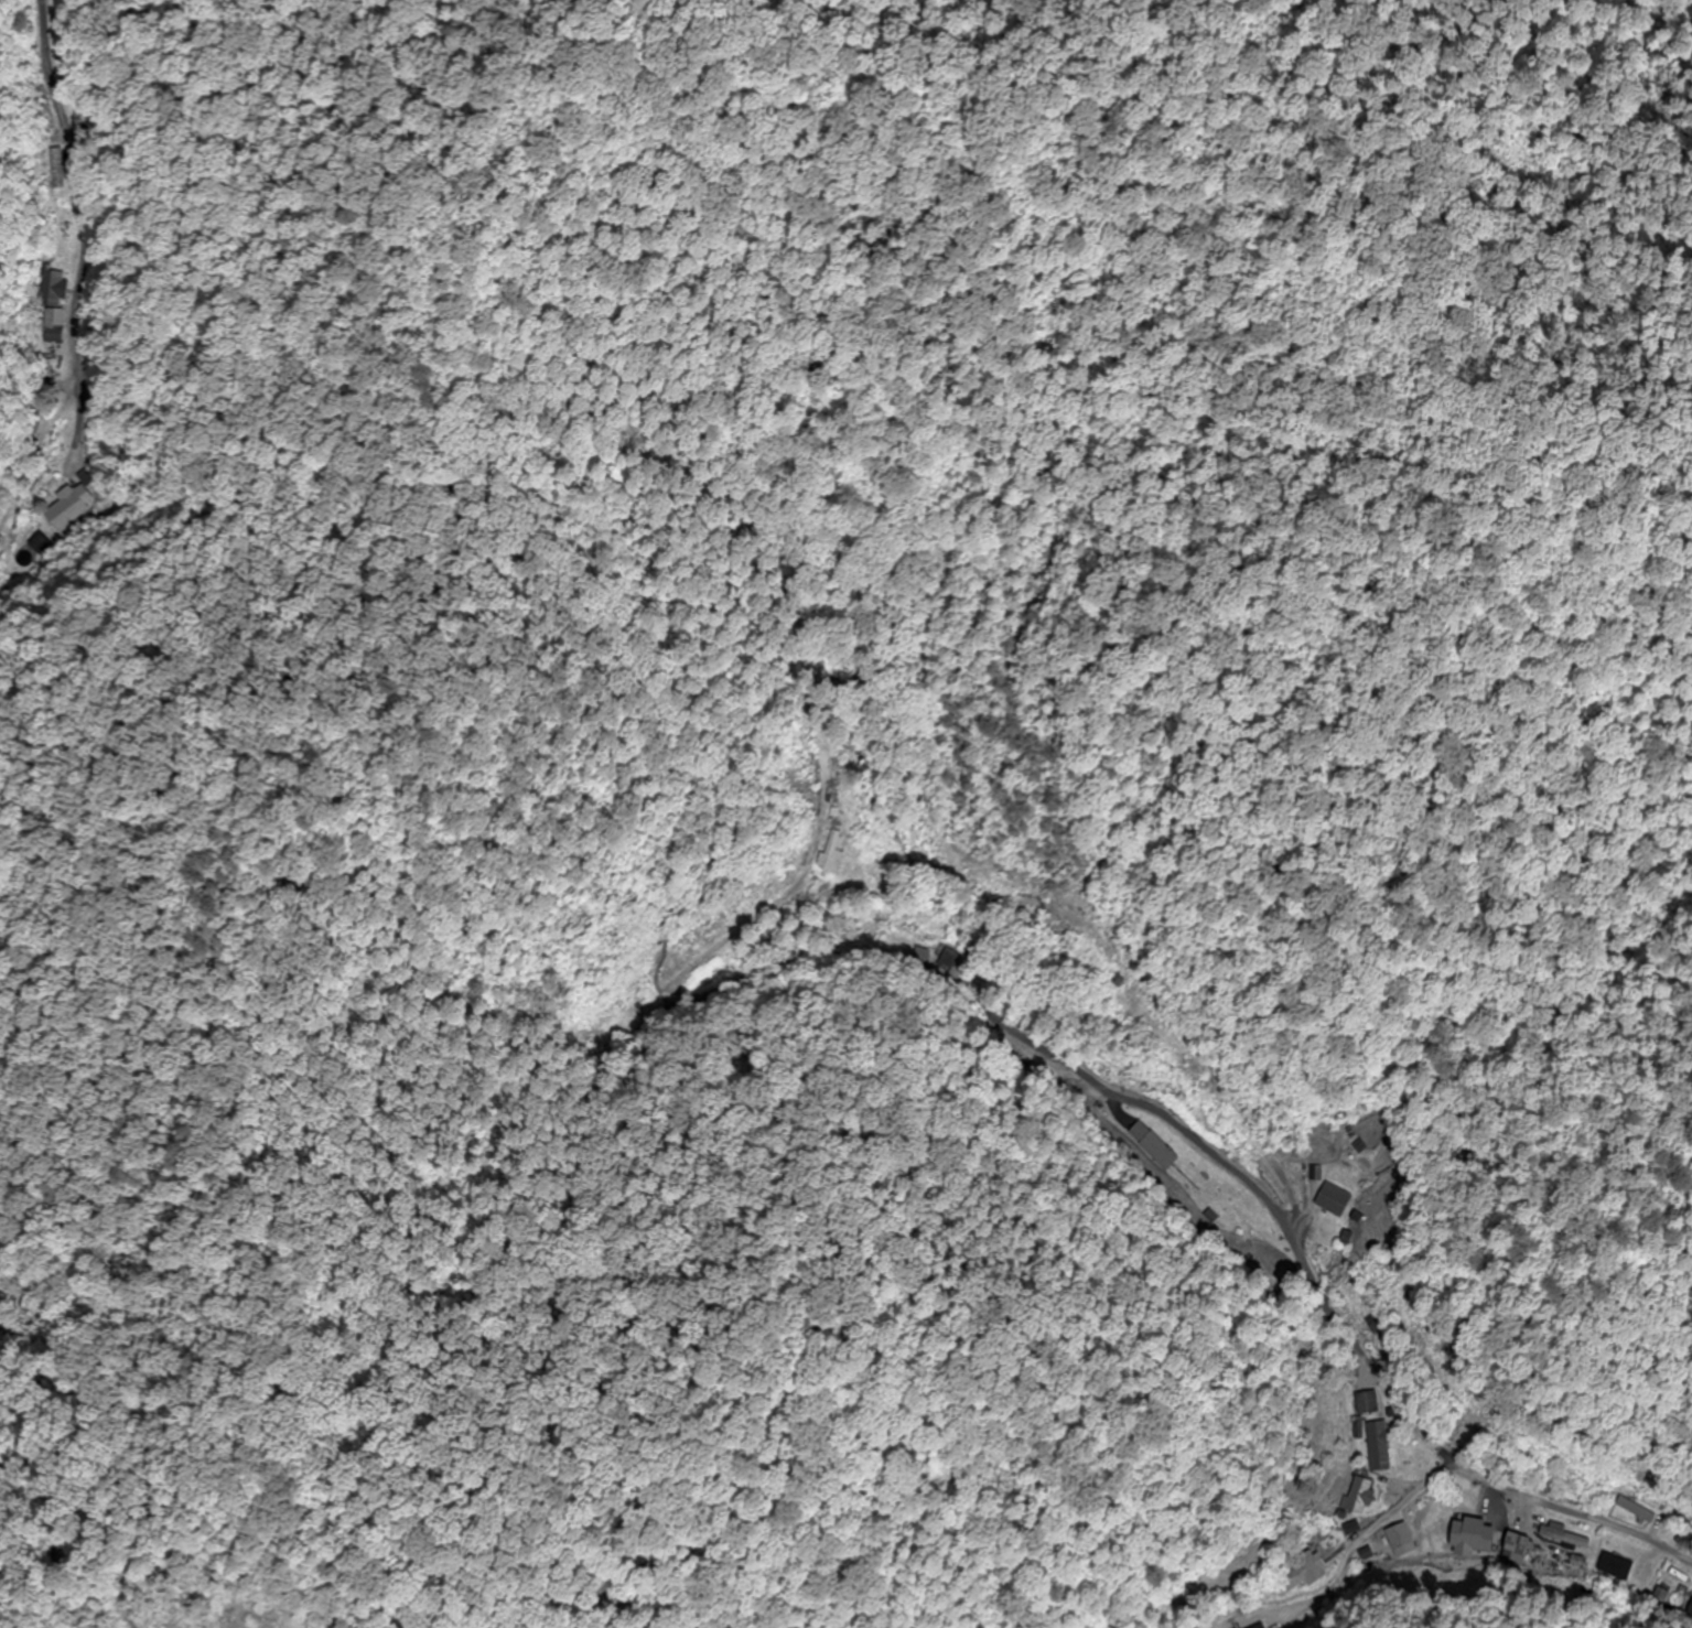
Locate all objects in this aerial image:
building: (34, 160)
building: (52, 287)
building: (55, 325)
building: (829, 856)
road: (1243, 1180)
building: (1332, 1200)
building: (1366, 1404)
building: (1375, 1447)
building: (1356, 1499)
building: (1634, 1511)
building: (1300, 1574)
building: (1263, 1626)

